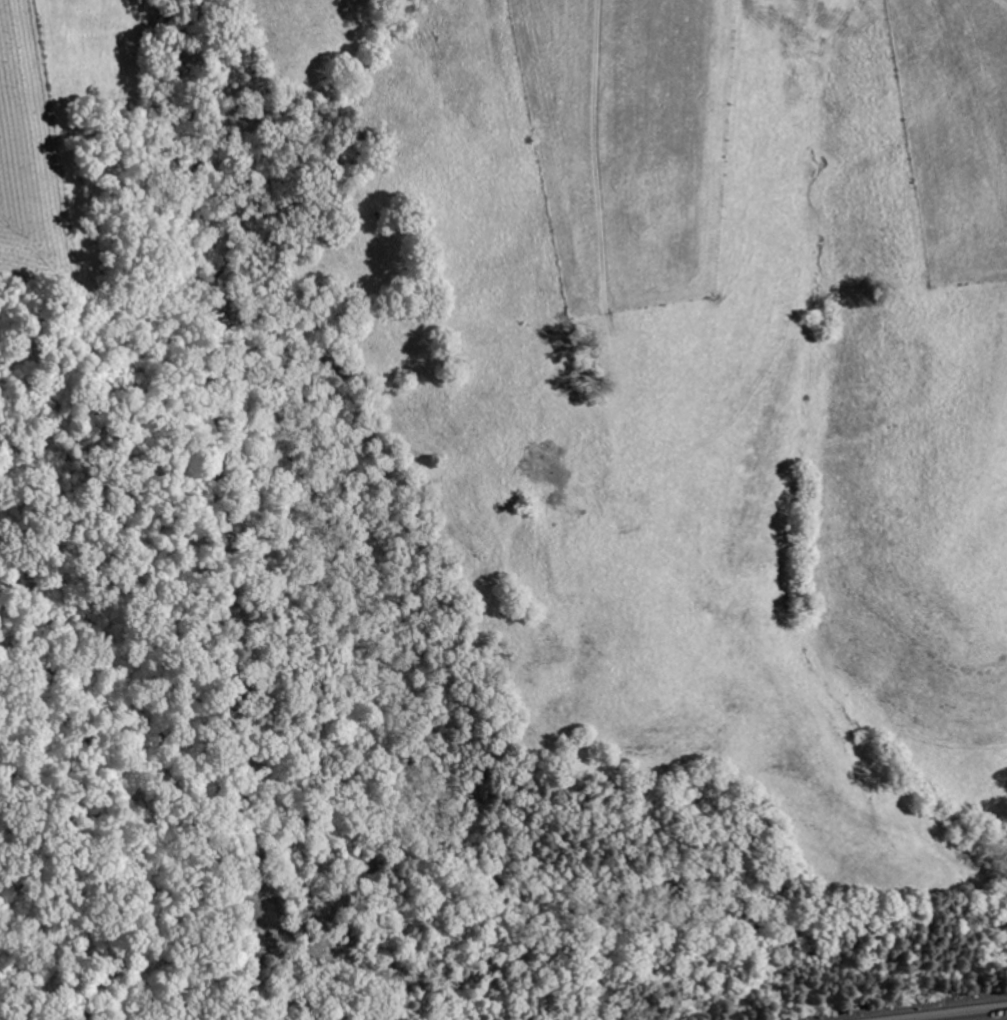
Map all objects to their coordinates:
road: (970, 1015)

